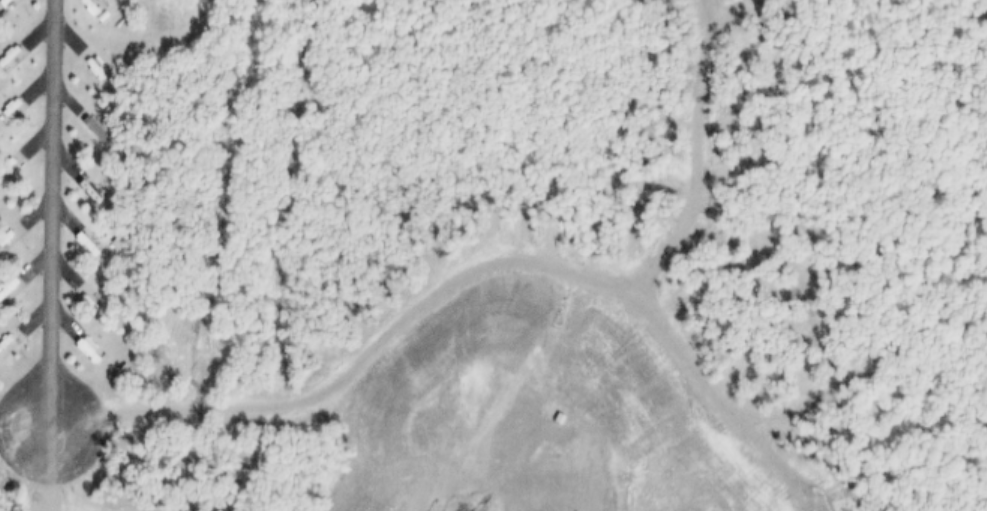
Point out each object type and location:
road: (57, 215)
building: (202, 388)
road: (52, 470)

